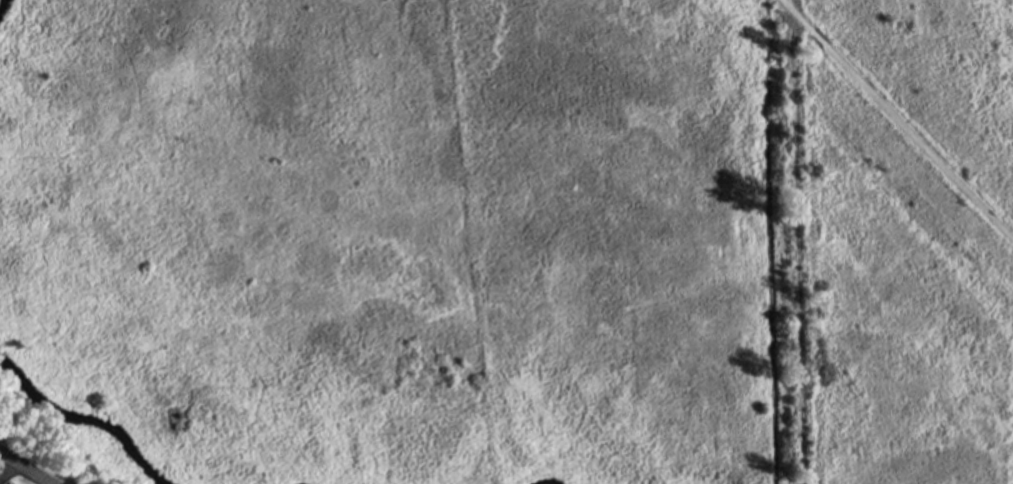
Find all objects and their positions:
road: (796, 16)
road: (817, 38)
park: (947, 65)
road: (917, 143)
road: (796, 241)
road: (6, 468)
road: (24, 468)

